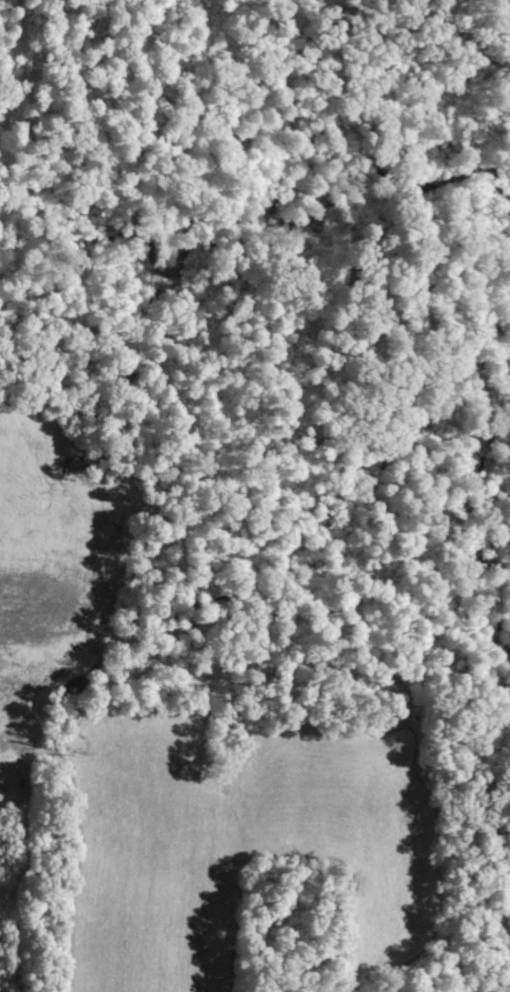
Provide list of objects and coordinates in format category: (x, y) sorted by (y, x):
road: (42, 603)

